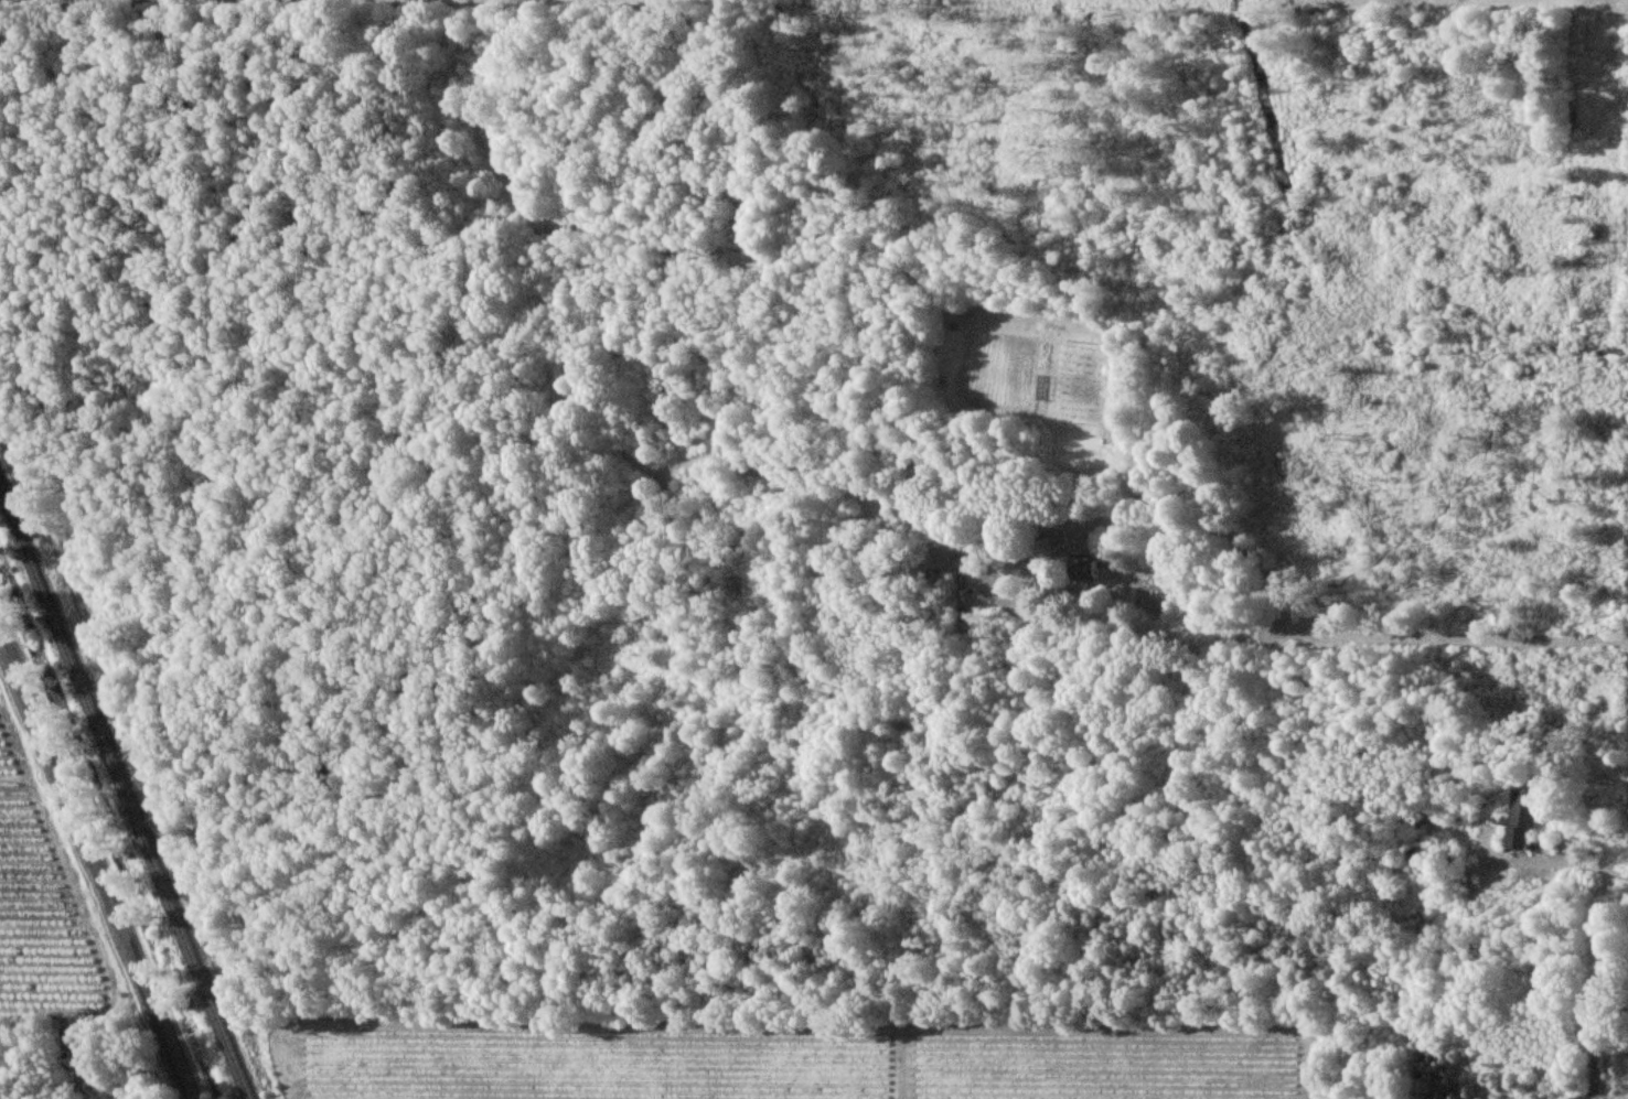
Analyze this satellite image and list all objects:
building: (1085, 569)
road: (1349, 632)
railway: (125, 791)
building: (1520, 817)
road: (94, 866)

